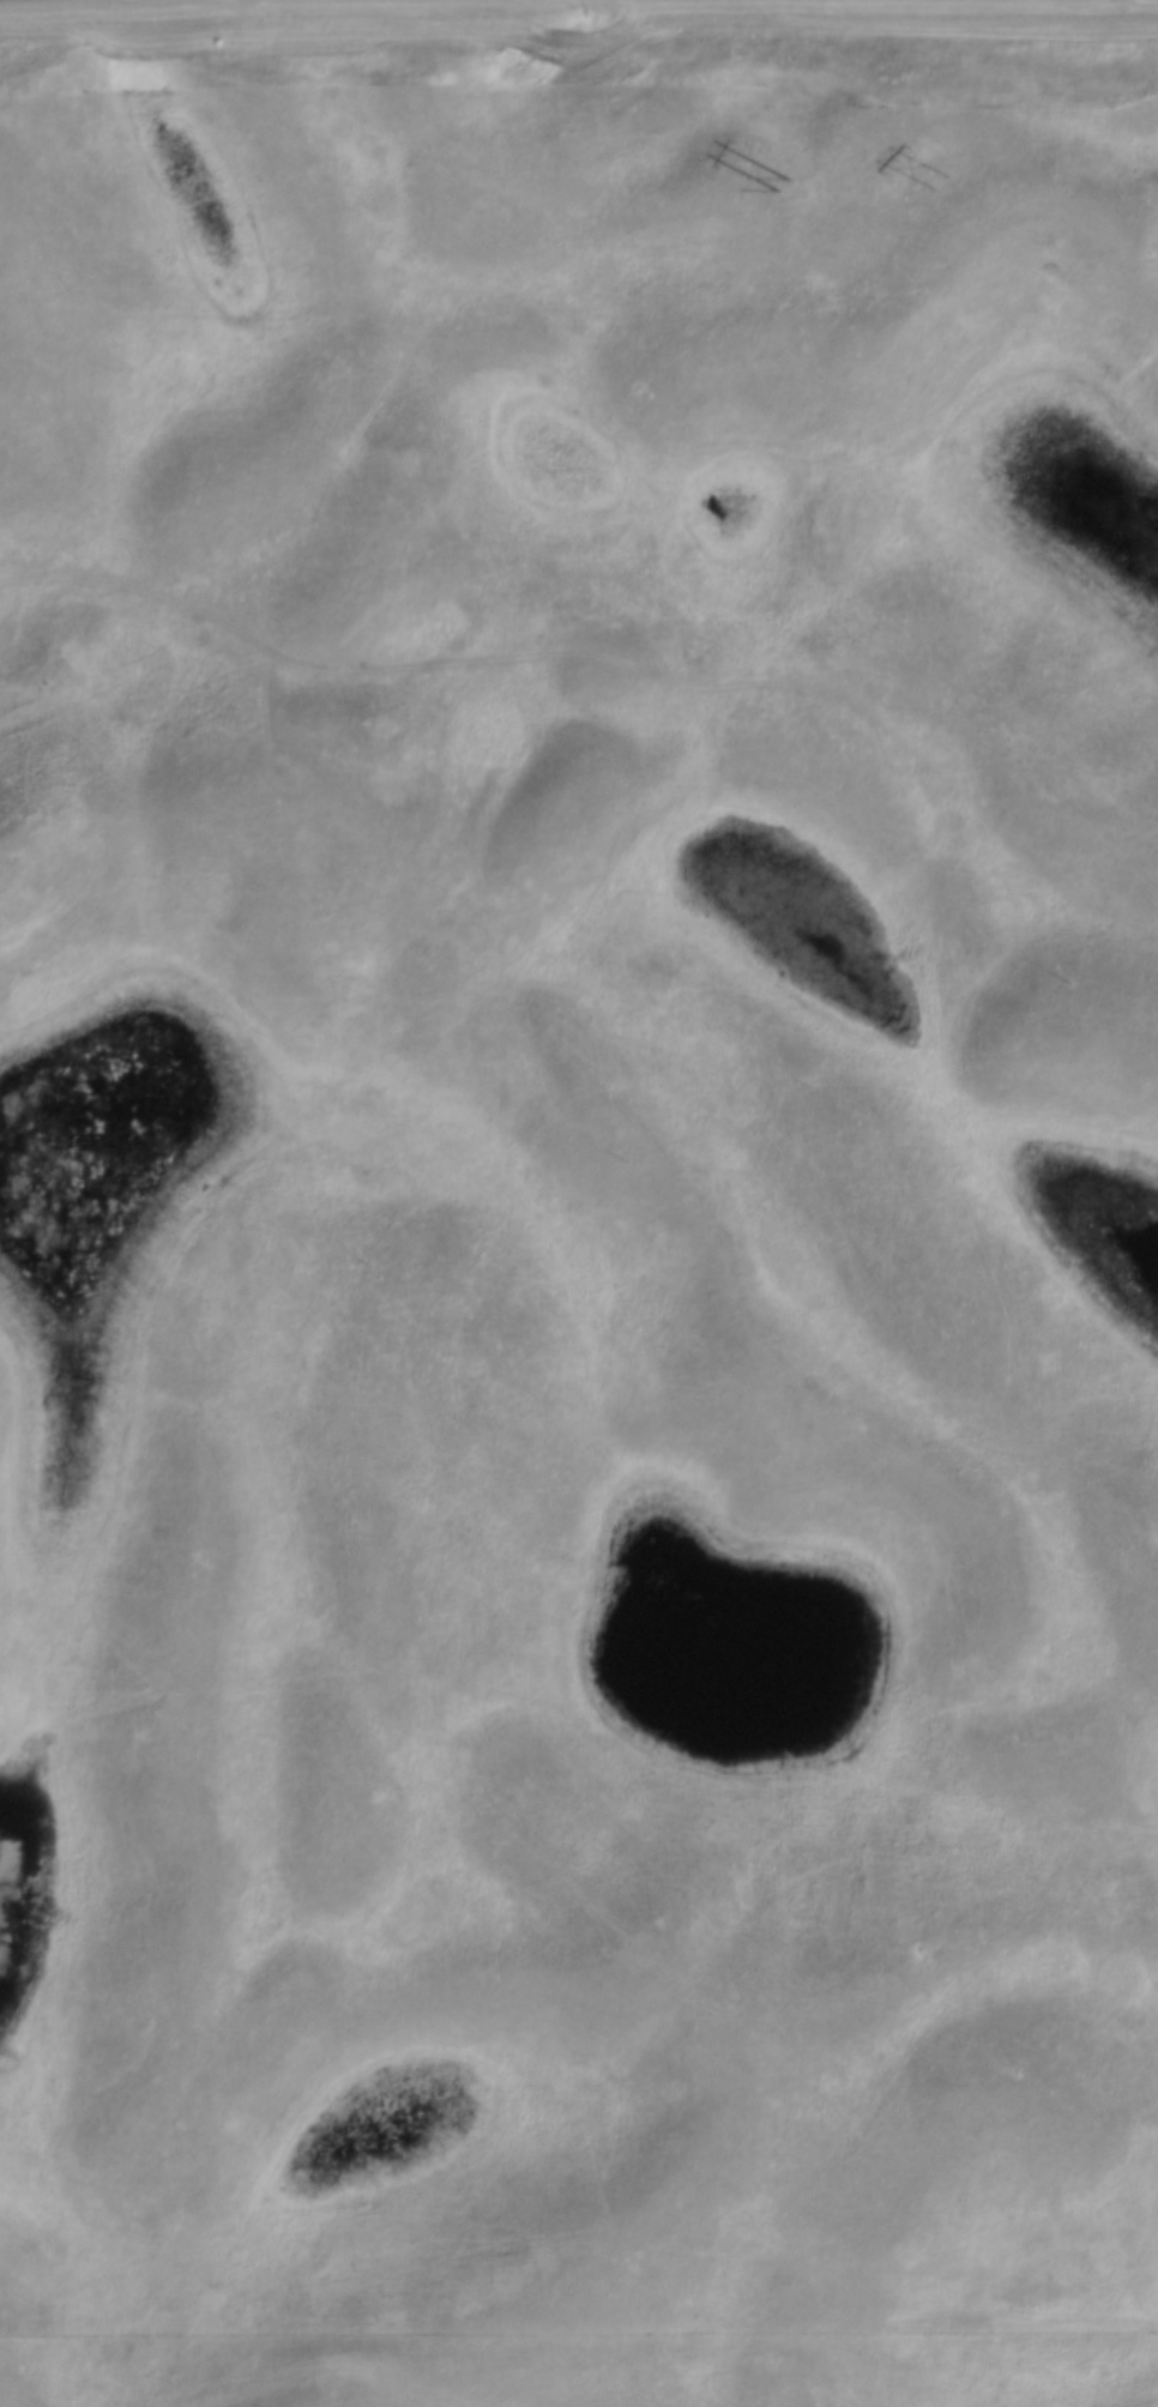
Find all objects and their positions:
power tower: (937, 182)
road: (610, 658)

